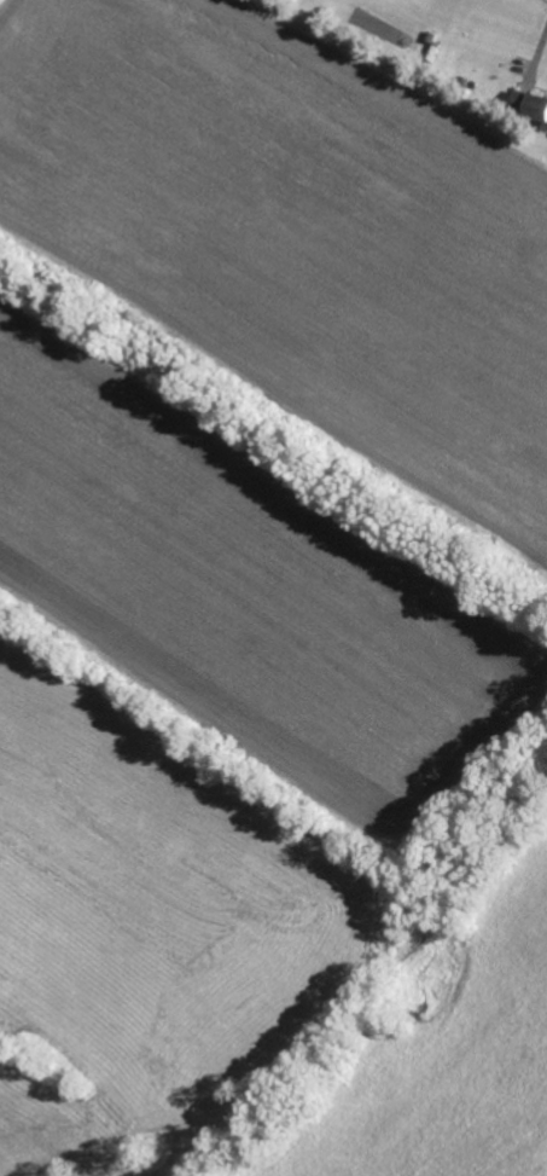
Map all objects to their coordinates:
building: (430, 35)
building: (462, 79)
building: (471, 82)
building: (533, 103)

